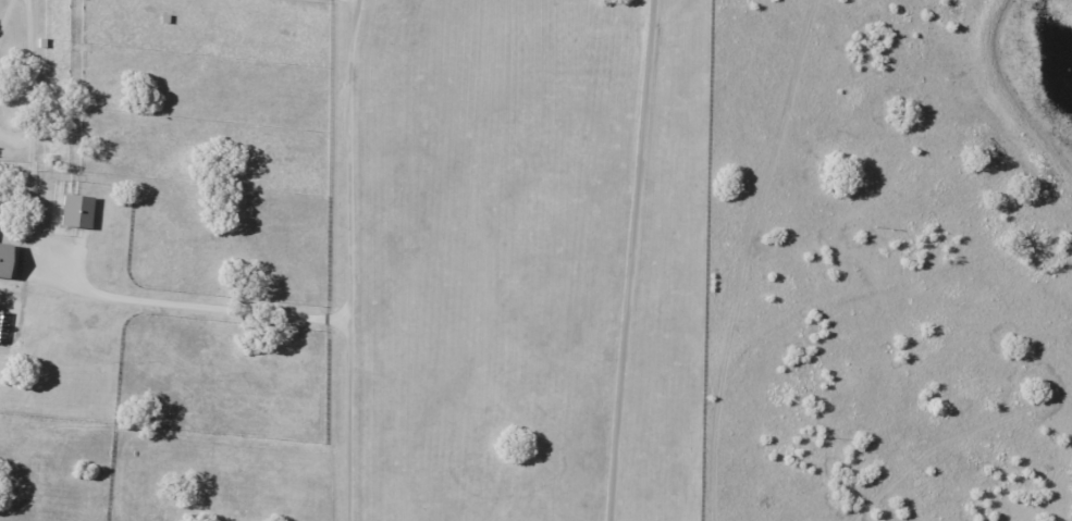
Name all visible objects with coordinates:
road: (352, 1)
building: (167, 18)
building: (44, 42)
building: (42, 107)
road: (345, 161)
building: (77, 211)
building: (8, 260)
road: (626, 260)
road: (62, 275)
road: (345, 421)

